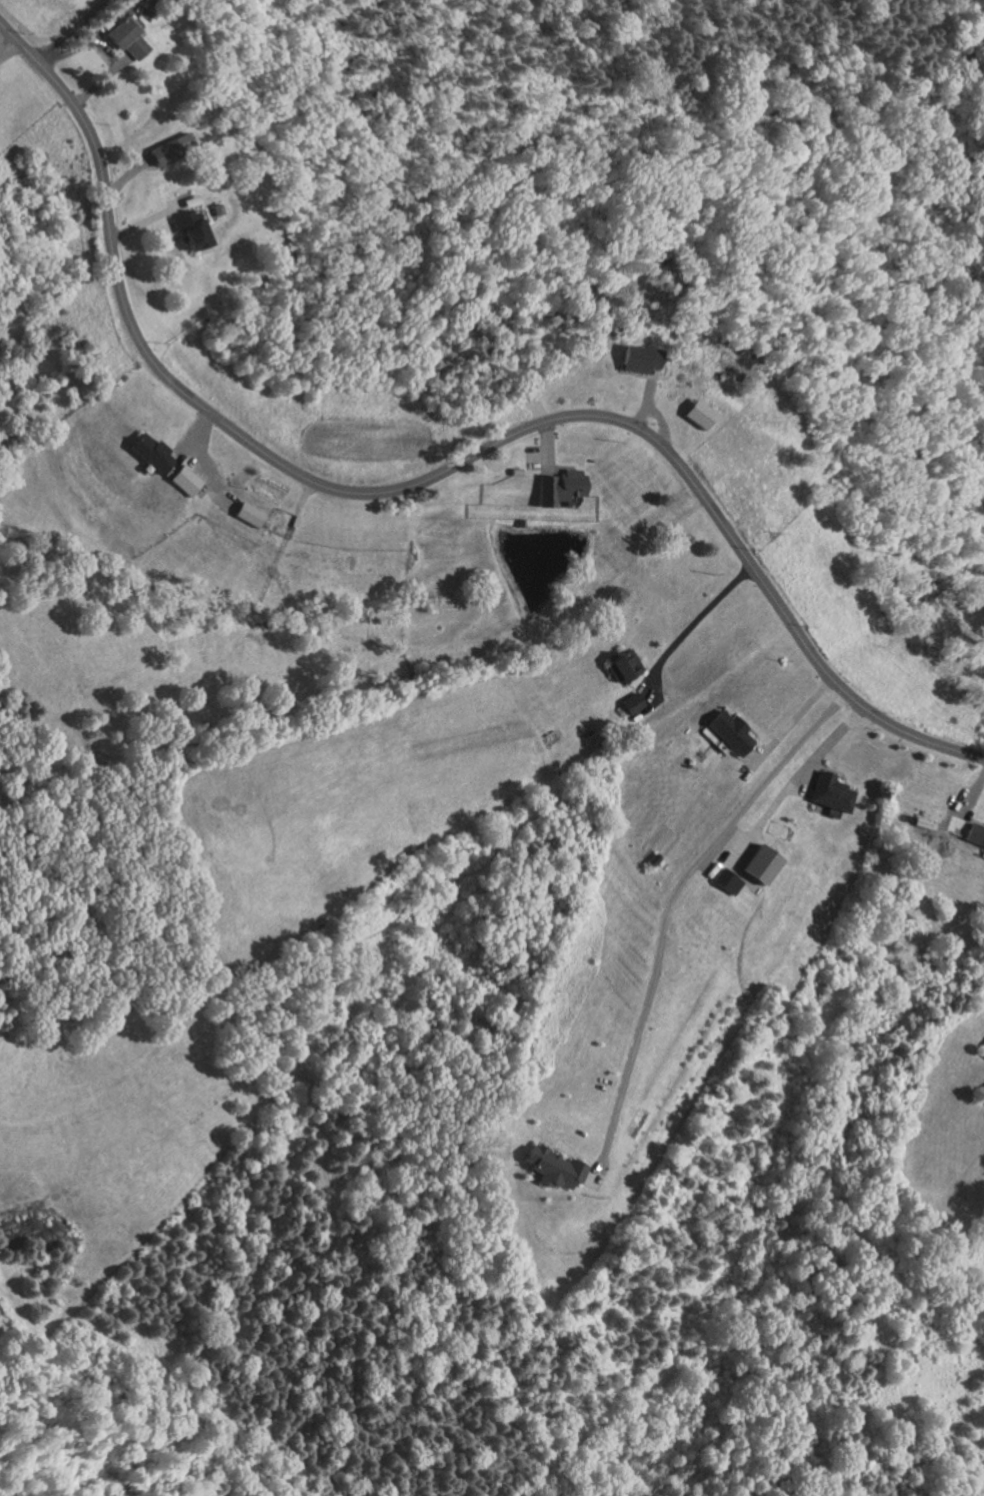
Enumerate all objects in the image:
crop: (43, 17)
road: (112, 20)
road: (73, 25)
building: (128, 37)
road: (9, 48)
road: (106, 48)
road: (121, 61)
building: (166, 151)
road: (129, 174)
building: (195, 200)
building: (219, 208)
road: (150, 220)
building: (195, 231)
building: (637, 358)
road: (553, 373)
road: (639, 375)
road: (643, 396)
road: (660, 420)
road: (191, 433)
road: (547, 447)
building: (156, 452)
road: (210, 471)
road: (435, 474)
building: (188, 479)
building: (561, 486)
building: (252, 513)
road: (688, 626)
building: (623, 667)
building: (631, 702)
road: (790, 719)
building: (731, 732)
road: (792, 782)
building: (833, 792)
road: (964, 802)
building: (975, 833)
building: (754, 864)
building: (722, 880)
road: (665, 909)
building: (981, 1094)
building: (547, 1168)

